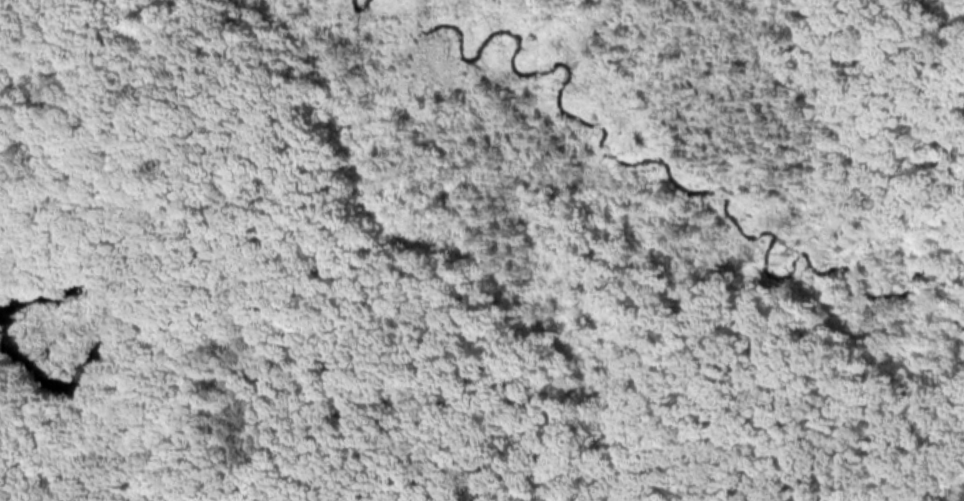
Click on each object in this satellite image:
park: (482, 250)

